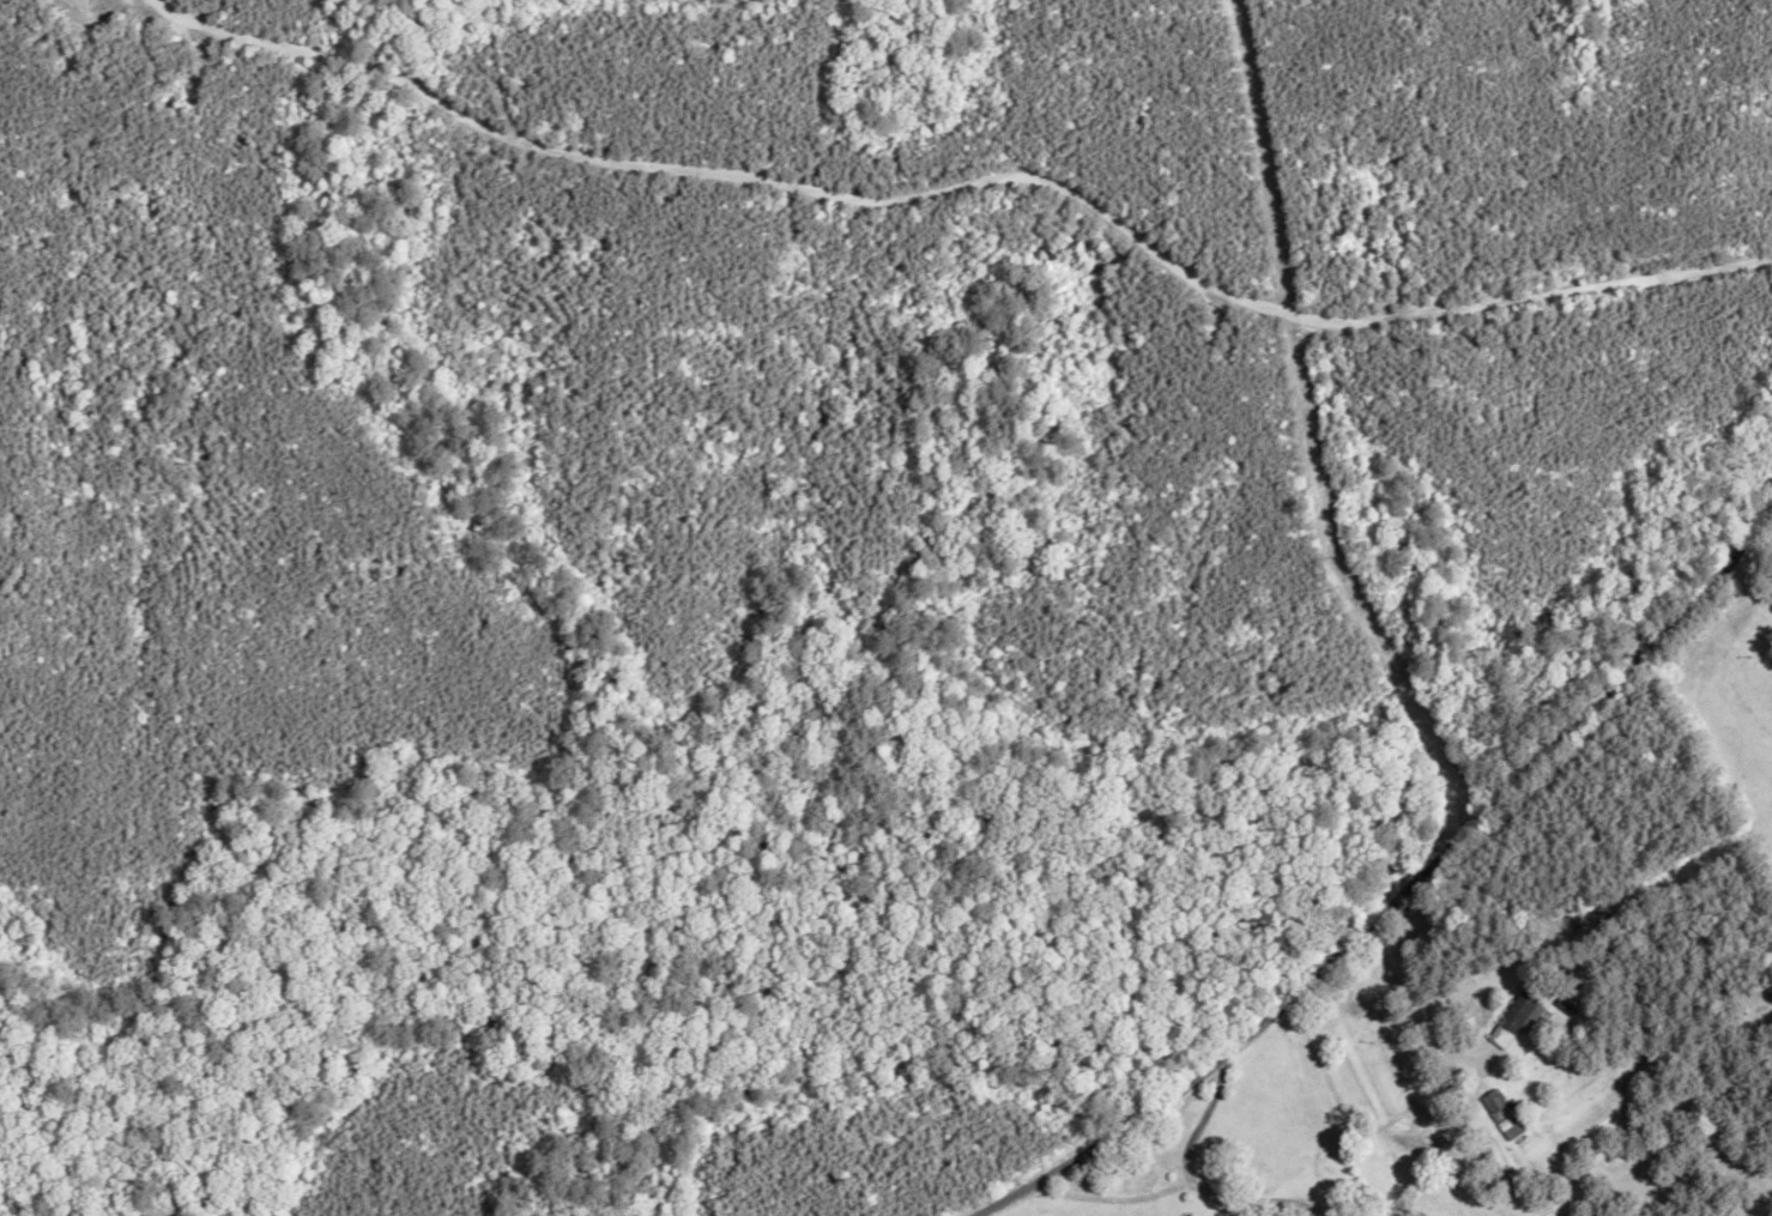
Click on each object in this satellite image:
building: (1743, 625)
road: (1522, 784)
road: (1596, 912)
building: (1520, 1022)
building: (1500, 1113)
road: (1299, 1127)
road: (1106, 1129)

